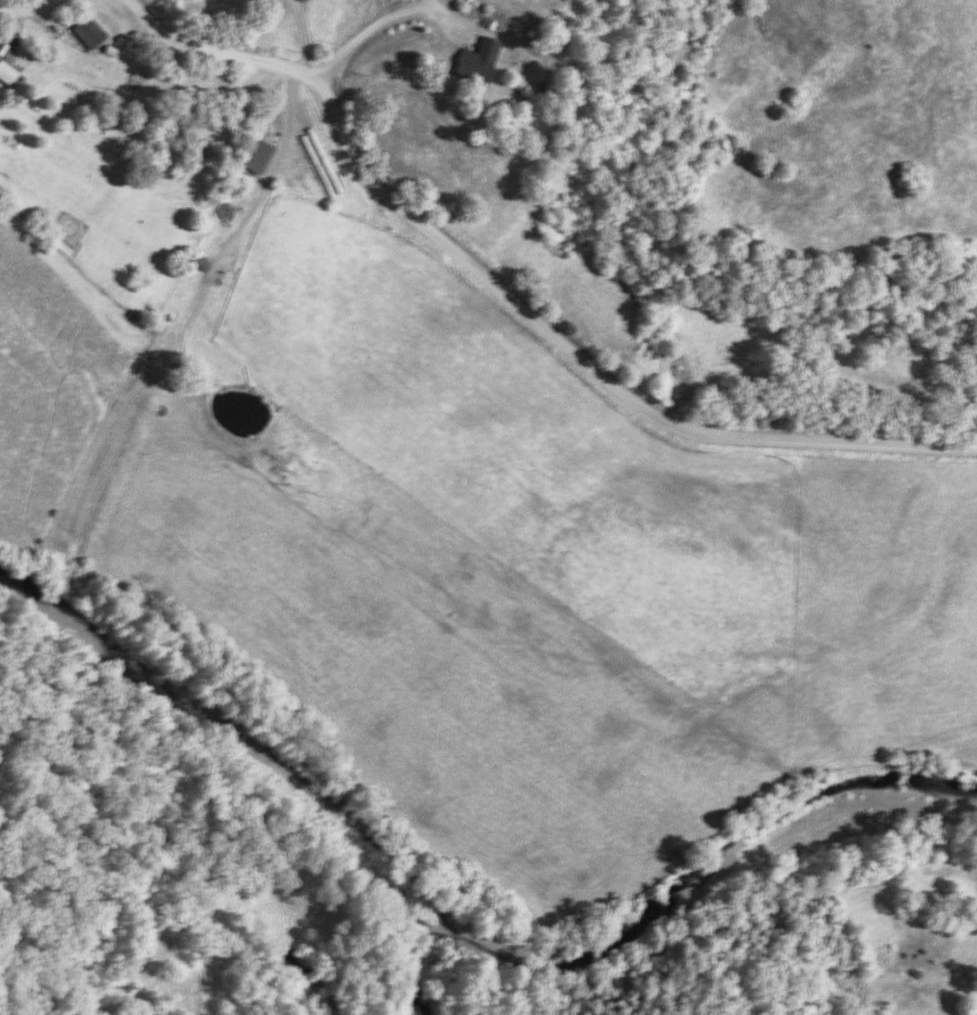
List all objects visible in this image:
road: (24, 9)
road: (365, 30)
building: (89, 33)
building: (477, 63)
building: (7, 74)
building: (257, 157)
road: (510, 298)

